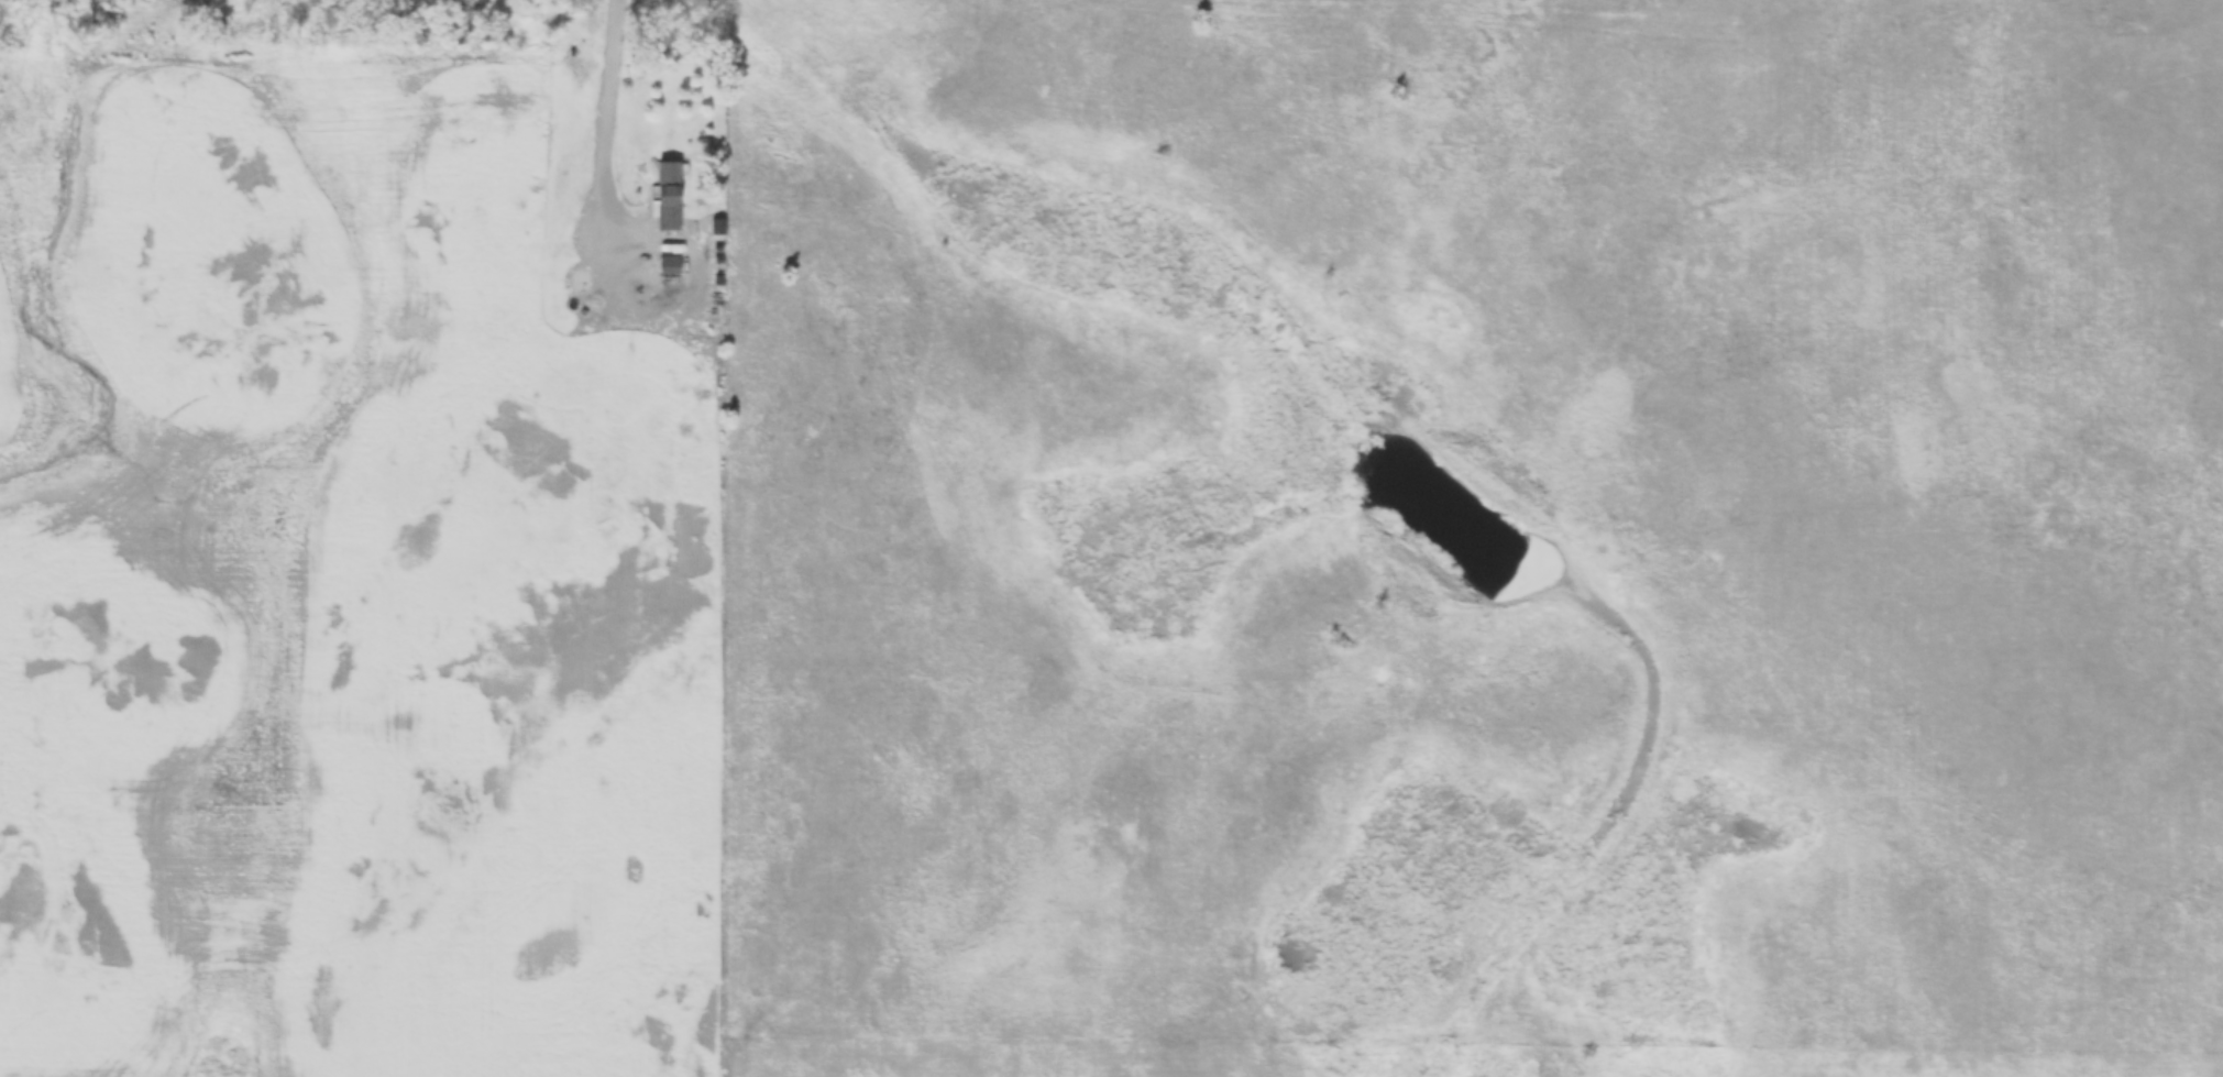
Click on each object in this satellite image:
road: (608, 165)
building: (671, 195)
building: (672, 264)

